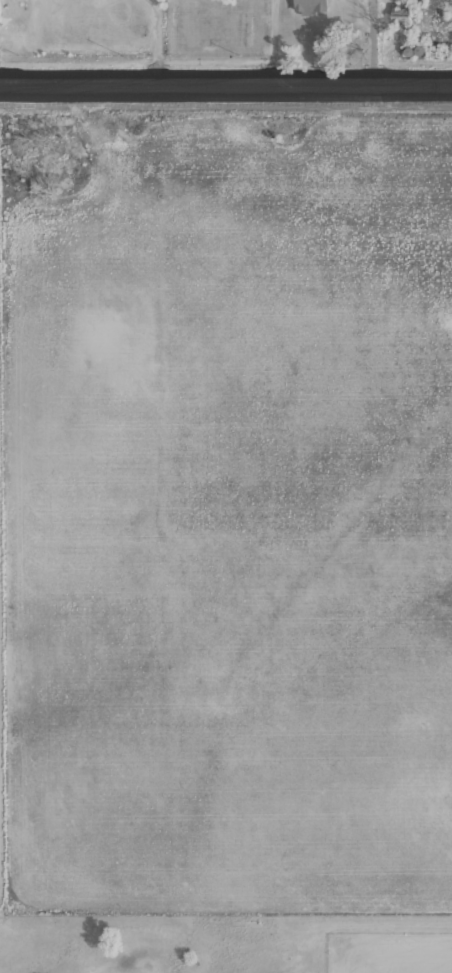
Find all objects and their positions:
building: (308, 7)
building: (397, 9)
building: (409, 52)
road: (226, 91)

